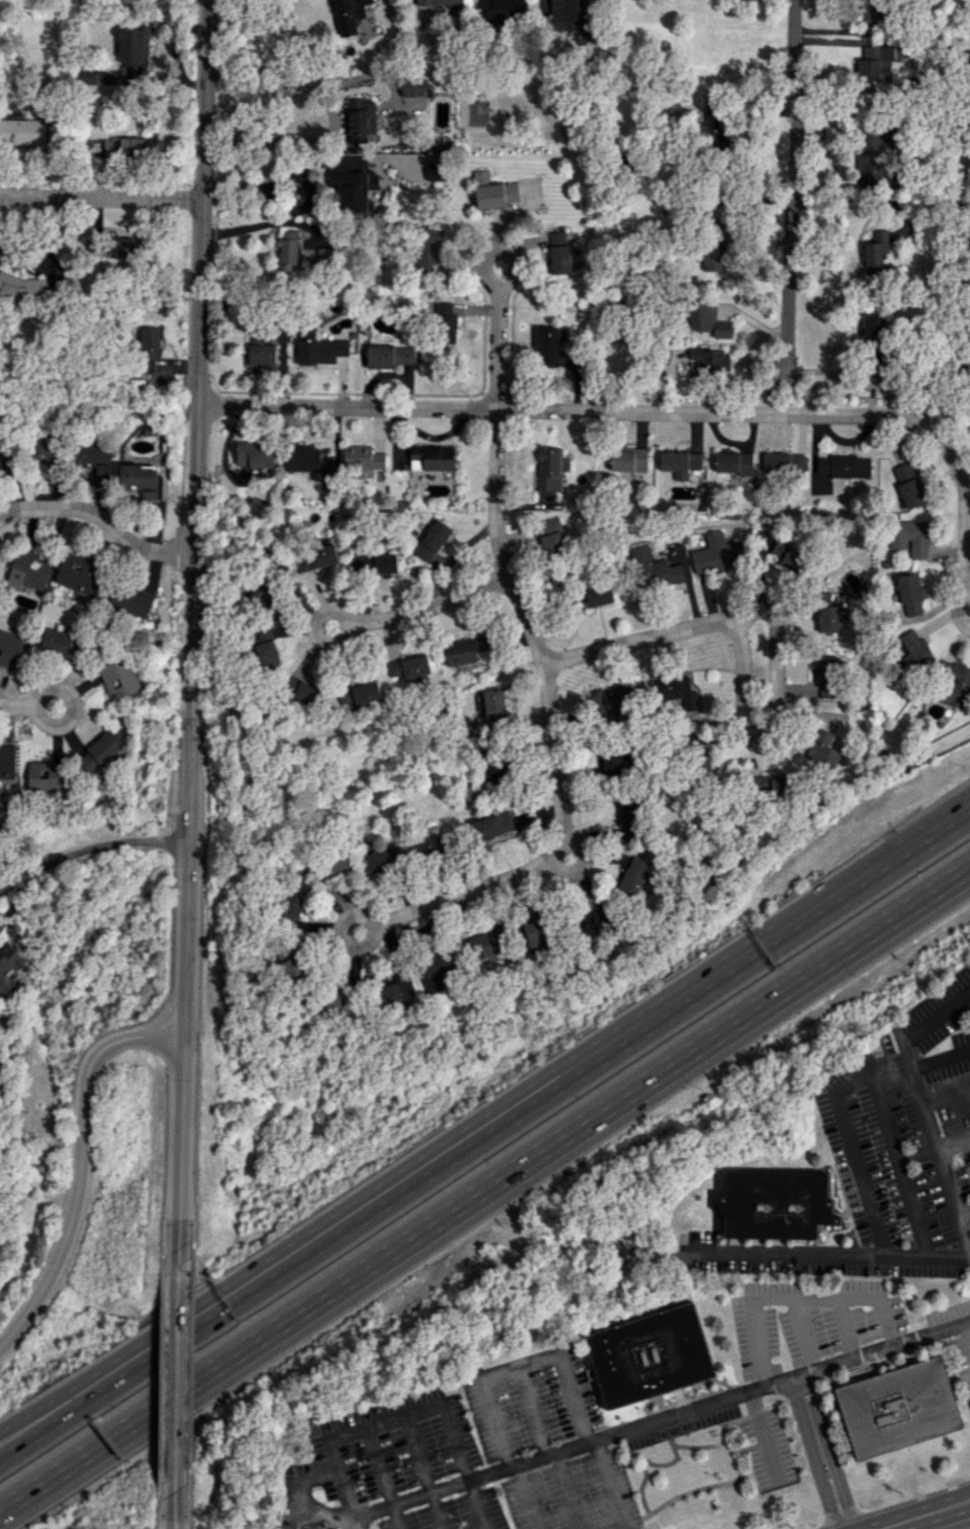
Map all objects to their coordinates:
building: (445, 4)
building: (502, 12)
building: (567, 14)
building: (349, 15)
building: (872, 19)
building: (875, 63)
building: (414, 88)
building: (361, 119)
building: (23, 132)
road: (275, 139)
building: (122, 148)
building: (353, 191)
building: (499, 191)
road: (101, 197)
road: (791, 198)
road: (868, 199)
building: (115, 247)
building: (288, 250)
building: (432, 251)
building: (558, 252)
building: (713, 256)
building: (878, 256)
building: (319, 258)
building: (19, 289)
road: (496, 295)
building: (706, 319)
building: (445, 323)
building: (872, 339)
building: (548, 345)
building: (148, 348)
building: (260, 351)
building: (321, 351)
building: (389, 356)
building: (710, 360)
road: (787, 406)
road: (646, 412)
building: (149, 430)
building: (47, 450)
building: (255, 455)
building: (93, 458)
building: (431, 458)
building: (362, 459)
building: (628, 459)
building: (5, 460)
building: (307, 460)
building: (679, 463)
building: (733, 463)
building: (784, 463)
building: (843, 466)
building: (550, 469)
building: (139, 481)
building: (908, 485)
road: (99, 521)
building: (553, 536)
building: (909, 537)
building: (431, 541)
building: (717, 554)
building: (789, 556)
building: (316, 558)
building: (661, 563)
building: (380, 564)
building: (30, 568)
building: (79, 574)
building: (595, 593)
building: (257, 594)
building: (910, 595)
building: (131, 600)
road: (958, 606)
road: (379, 617)
building: (832, 619)
road: (193, 632)
building: (56, 640)
building: (76, 645)
building: (265, 648)
building: (9, 649)
building: (466, 651)
building: (912, 654)
road: (742, 666)
building: (408, 669)
building: (827, 677)
building: (119, 679)
building: (956, 686)
building: (301, 691)
building: (359, 694)
building: (611, 699)
road: (16, 706)
building: (494, 708)
road: (71, 709)
road: (550, 727)
building: (823, 748)
building: (99, 753)
building: (7, 762)
building: (615, 764)
building: (46, 776)
building: (773, 785)
building: (629, 819)
building: (491, 826)
building: (429, 845)
road: (88, 850)
building: (380, 862)
building: (339, 863)
road: (579, 866)
building: (633, 877)
road: (13, 904)
building: (293, 908)
road: (352, 915)
building: (594, 923)
building: (534, 936)
building: (488, 943)
building: (433, 962)
building: (9, 966)
building: (296, 970)
building: (395, 990)
building: (335, 1002)
road: (935, 1016)
road: (601, 1055)
road: (940, 1061)
road: (863, 1071)
road: (946, 1100)
parking lot: (830, 1129)
road: (953, 1143)
road: (936, 1149)
road: (917, 1155)
road: (80, 1166)
parking lot: (848, 1186)
road: (484, 1187)
building: (775, 1204)
road: (962, 1216)
parking lot: (860, 1226)
parking lot: (700, 1237)
road: (827, 1254)
parking lot: (823, 1268)
parking lot: (917, 1270)
road: (793, 1300)
road: (801, 1327)
road: (843, 1329)
road: (966, 1334)
road: (883, 1347)
building: (651, 1355)
road: (534, 1361)
road: (115, 1365)
road: (177, 1370)
road: (116, 1379)
building: (900, 1409)
road: (534, 1411)
road: (404, 1414)
road: (809, 1417)
road: (762, 1436)
parking lot: (548, 1443)
road: (577, 1448)
parking lot: (394, 1469)
road: (424, 1471)
road: (384, 1477)
road: (841, 1491)
road: (568, 1492)
road: (825, 1495)
road: (302, 1498)
road: (965, 1501)
road: (174, 1502)
road: (965, 1504)
road: (920, 1516)
building: (278, 1528)
building: (281, 1528)

